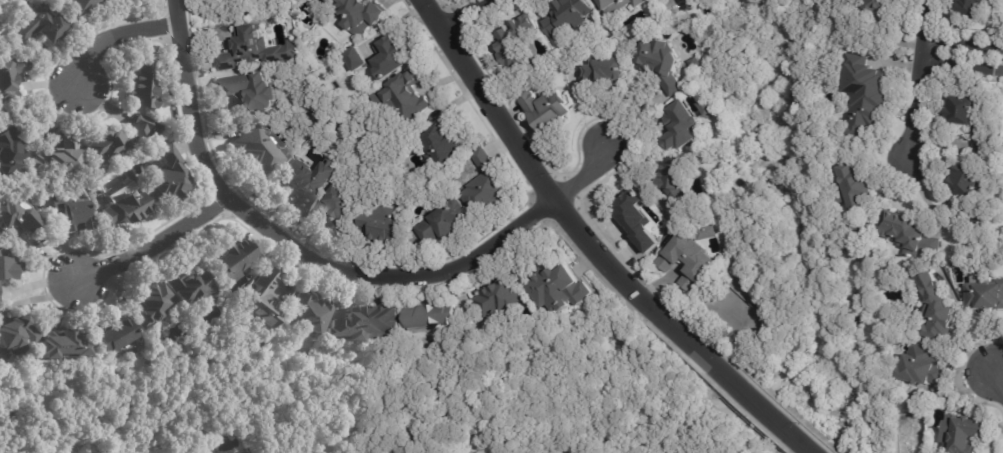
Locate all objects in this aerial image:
building: (115, 0)
building: (207, 0)
building: (299, 0)
building: (327, 0)
building: (590, 0)
building: (913, 0)
building: (995, 0)
building: (83, 4)
building: (688, 4)
building: (612, 5)
building: (880, 5)
building: (976, 7)
road: (461, 12)
building: (360, 14)
building: (561, 15)
building: (40, 24)
road: (115, 35)
building: (510, 43)
building: (219, 47)
building: (255, 50)
road: (964, 51)
building: (382, 58)
building: (696, 62)
building: (663, 64)
building: (609, 70)
road: (918, 75)
building: (11, 77)
building: (145, 86)
building: (252, 90)
building: (407, 93)
building: (859, 96)
building: (710, 107)
building: (550, 109)
building: (961, 117)
building: (675, 124)
building: (112, 145)
building: (444, 146)
building: (10, 147)
building: (259, 150)
building: (60, 157)
building: (169, 177)
building: (670, 178)
building: (962, 178)
building: (308, 183)
building: (487, 185)
building: (856, 207)
building: (129, 208)
building: (69, 212)
building: (17, 213)
building: (341, 214)
building: (631, 218)
building: (446, 224)
building: (979, 224)
building: (386, 225)
building: (899, 227)
building: (707, 233)
road: (153, 242)
road: (592, 246)
building: (932, 246)
building: (234, 260)
building: (682, 261)
road: (324, 264)
building: (8, 267)
building: (189, 288)
building: (557, 290)
building: (985, 296)
building: (496, 298)
building: (264, 303)
building: (151, 305)
building: (933, 310)
building: (312, 315)
building: (430, 317)
building: (368, 324)
building: (17, 335)
building: (115, 336)
building: (65, 347)
building: (920, 365)
road: (1000, 374)
building: (962, 434)
building: (253, 452)

